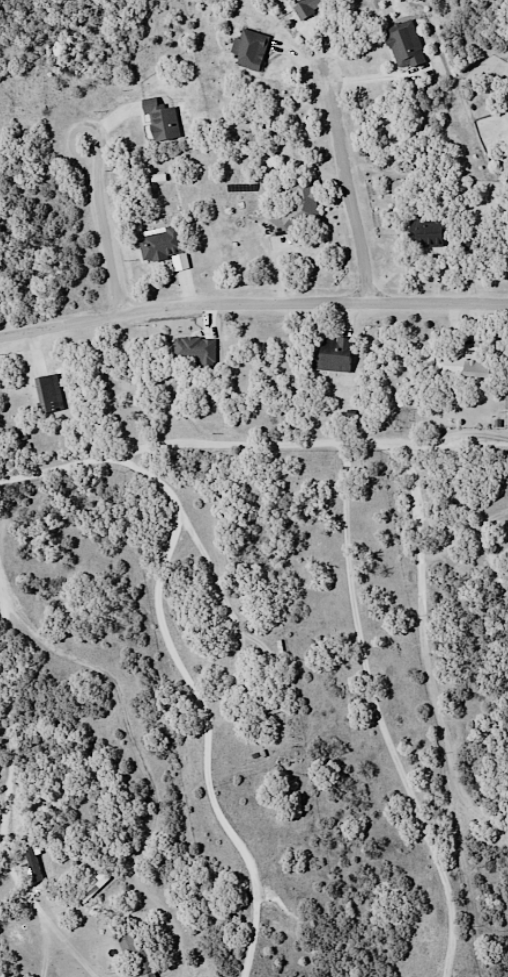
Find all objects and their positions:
building: (307, 7)
building: (404, 45)
building: (249, 49)
building: (160, 121)
road: (353, 178)
building: (297, 208)
road: (110, 220)
building: (425, 233)
building: (160, 243)
road: (252, 308)
building: (195, 351)
building: (333, 353)
building: (465, 366)
building: (47, 393)
road: (402, 464)
road: (32, 628)
road: (202, 708)
road: (375, 717)
building: (91, 885)
building: (137, 953)

